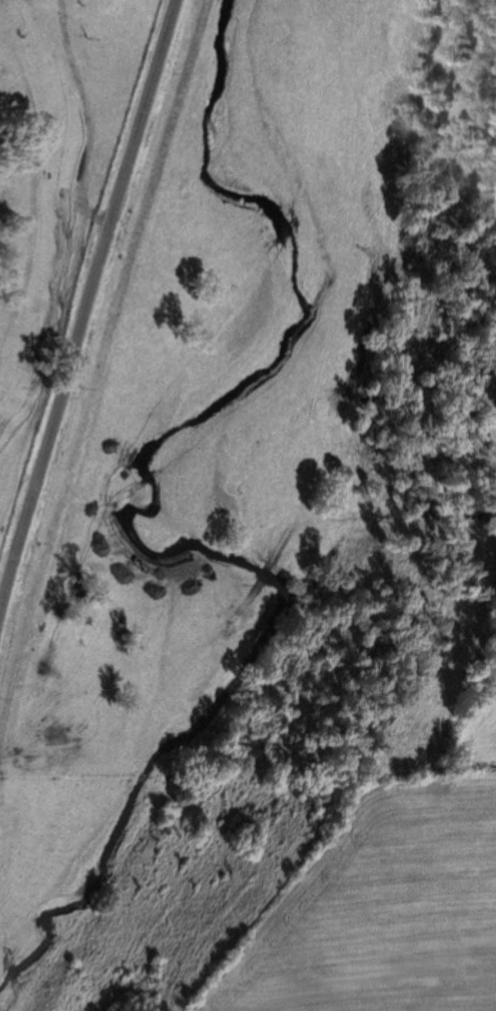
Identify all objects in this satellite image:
road: (84, 118)
road: (82, 291)

